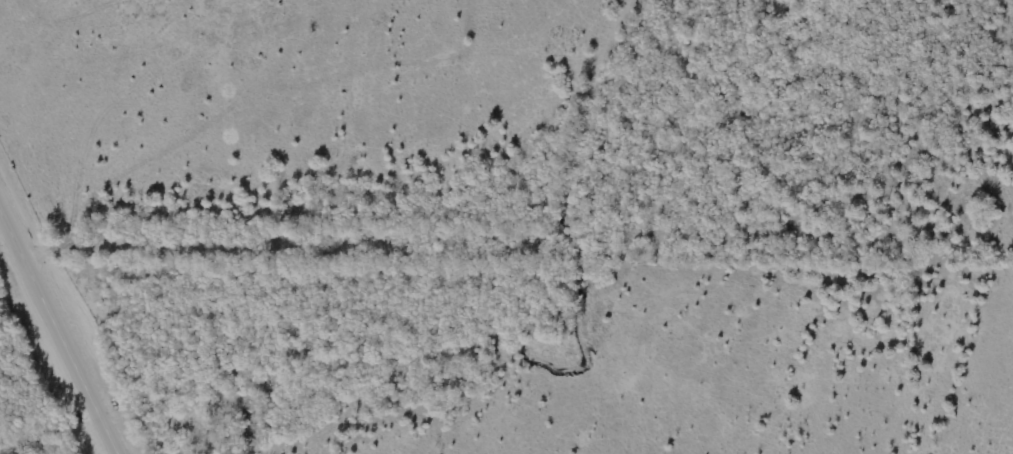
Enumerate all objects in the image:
road: (57, 335)

